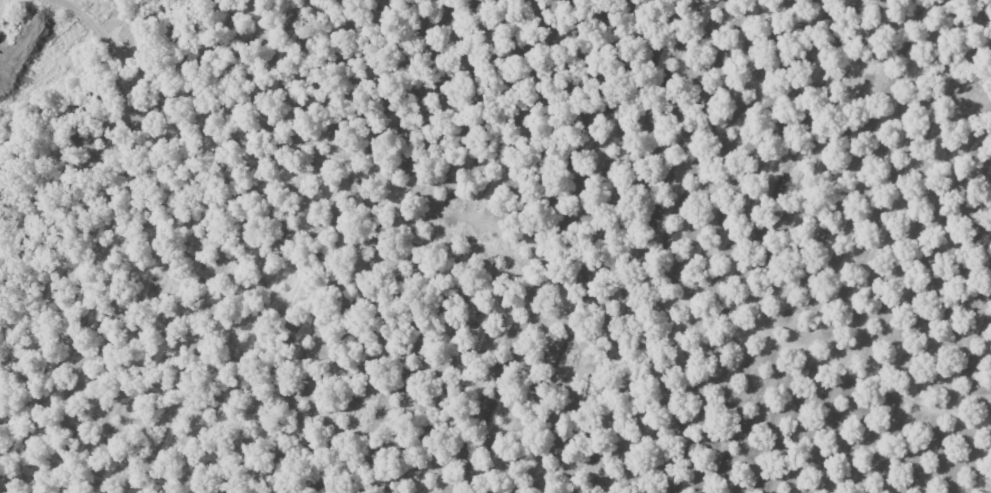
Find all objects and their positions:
road: (322, 216)

